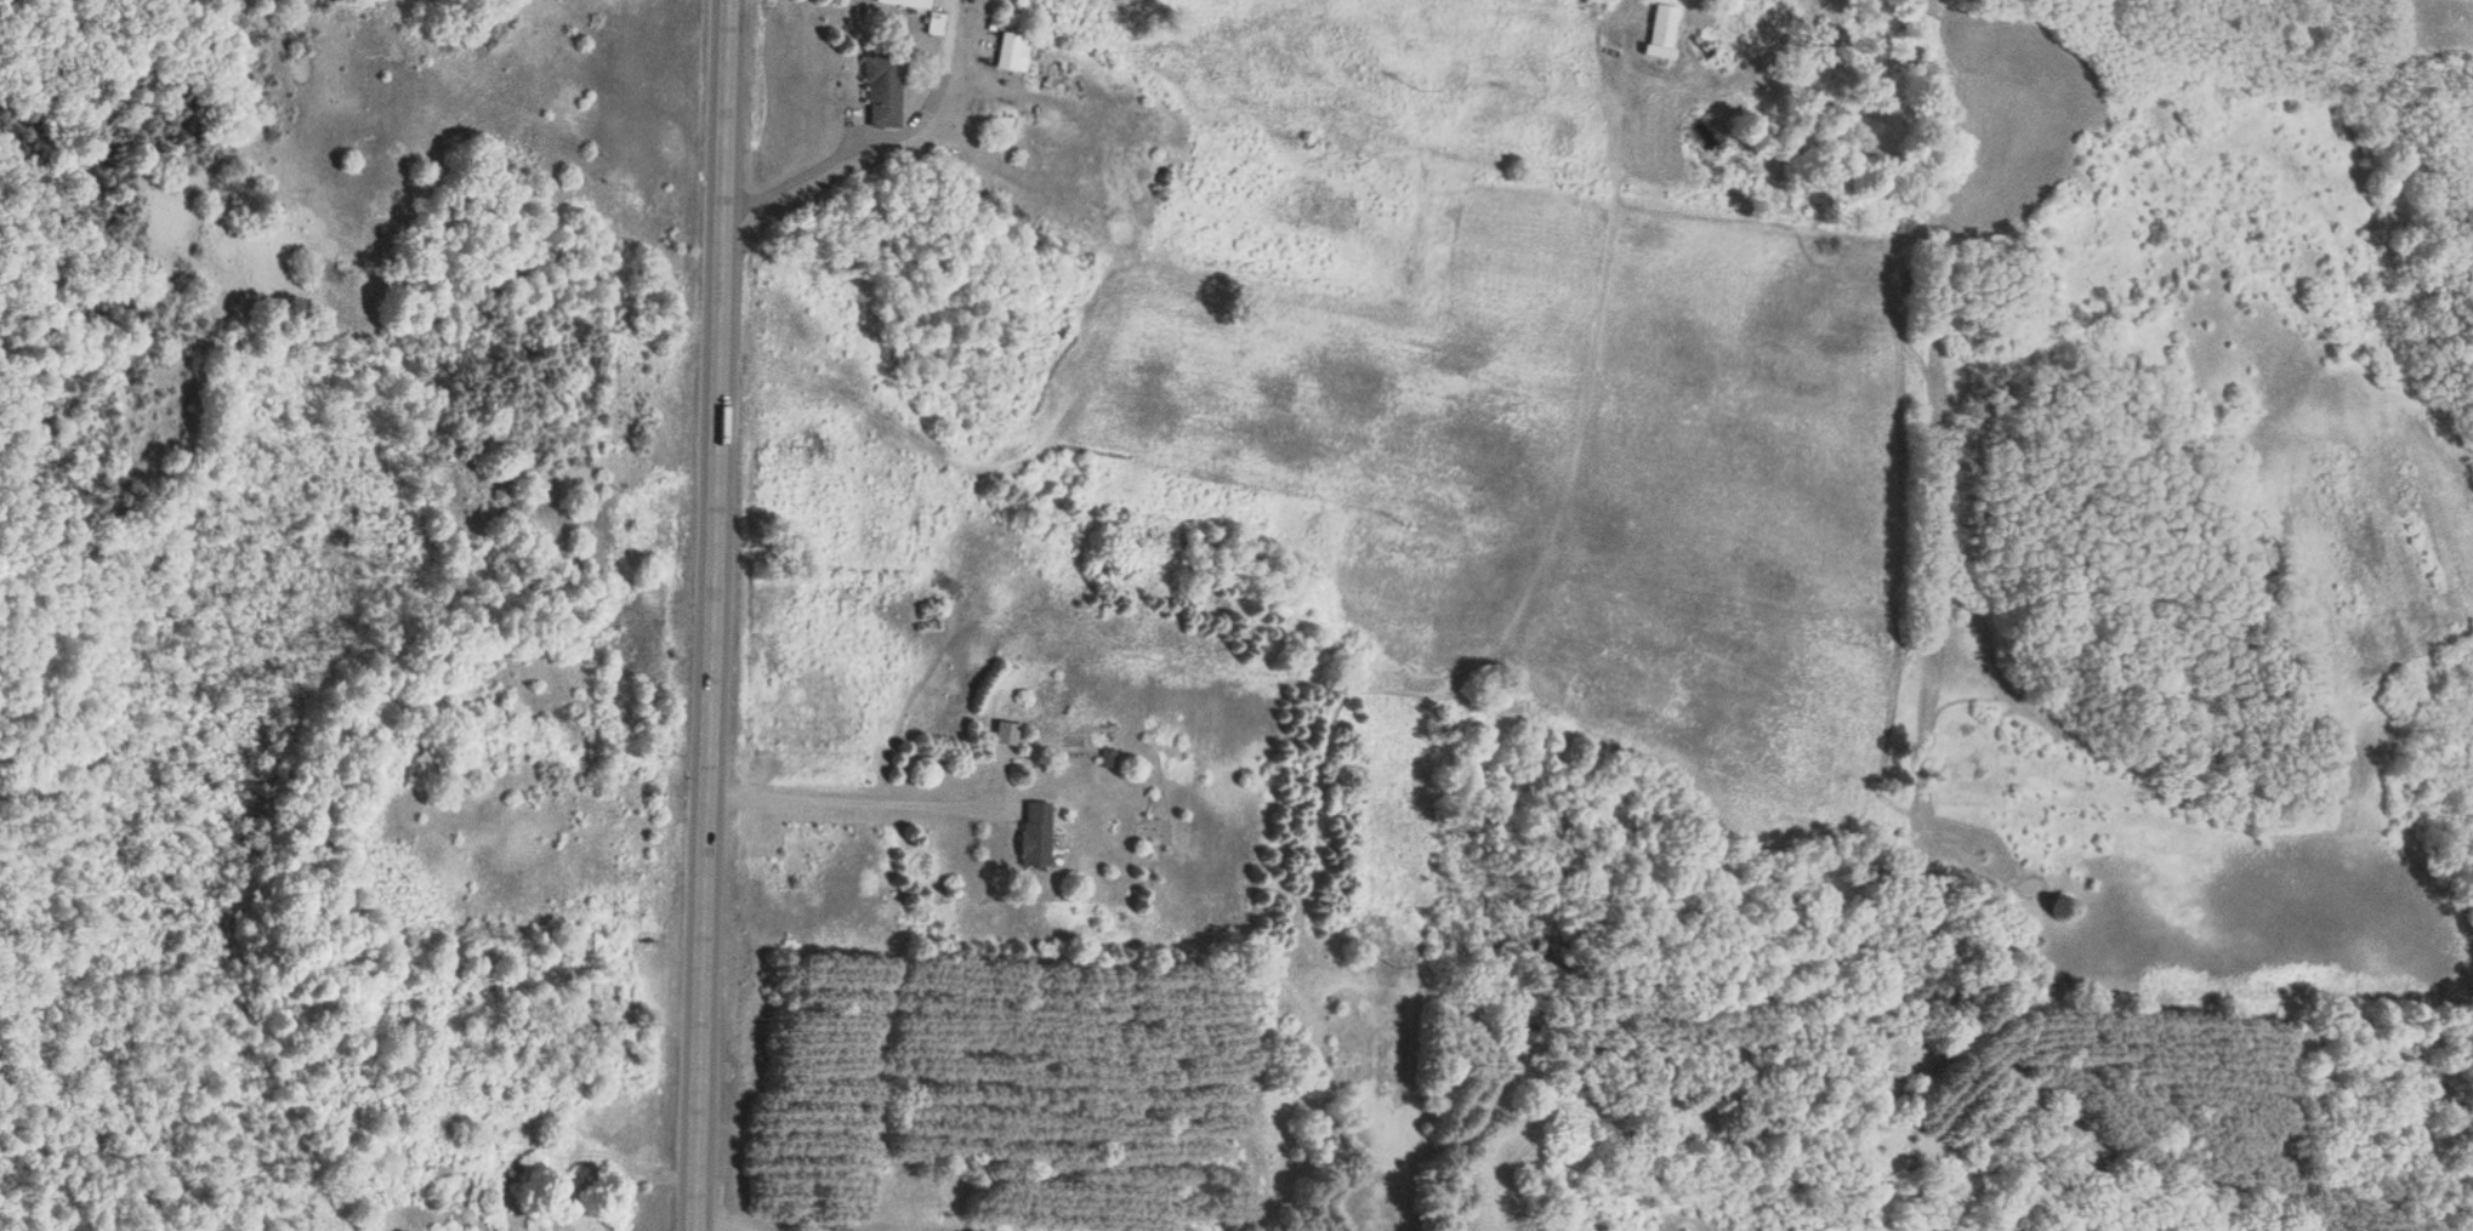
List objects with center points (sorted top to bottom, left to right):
building: (909, 4)
building: (937, 25)
building: (1664, 32)
building: (1013, 52)
building: (883, 92)
road: (710, 615)
building: (1108, 759)
building: (1037, 836)
building: (590, 1225)

